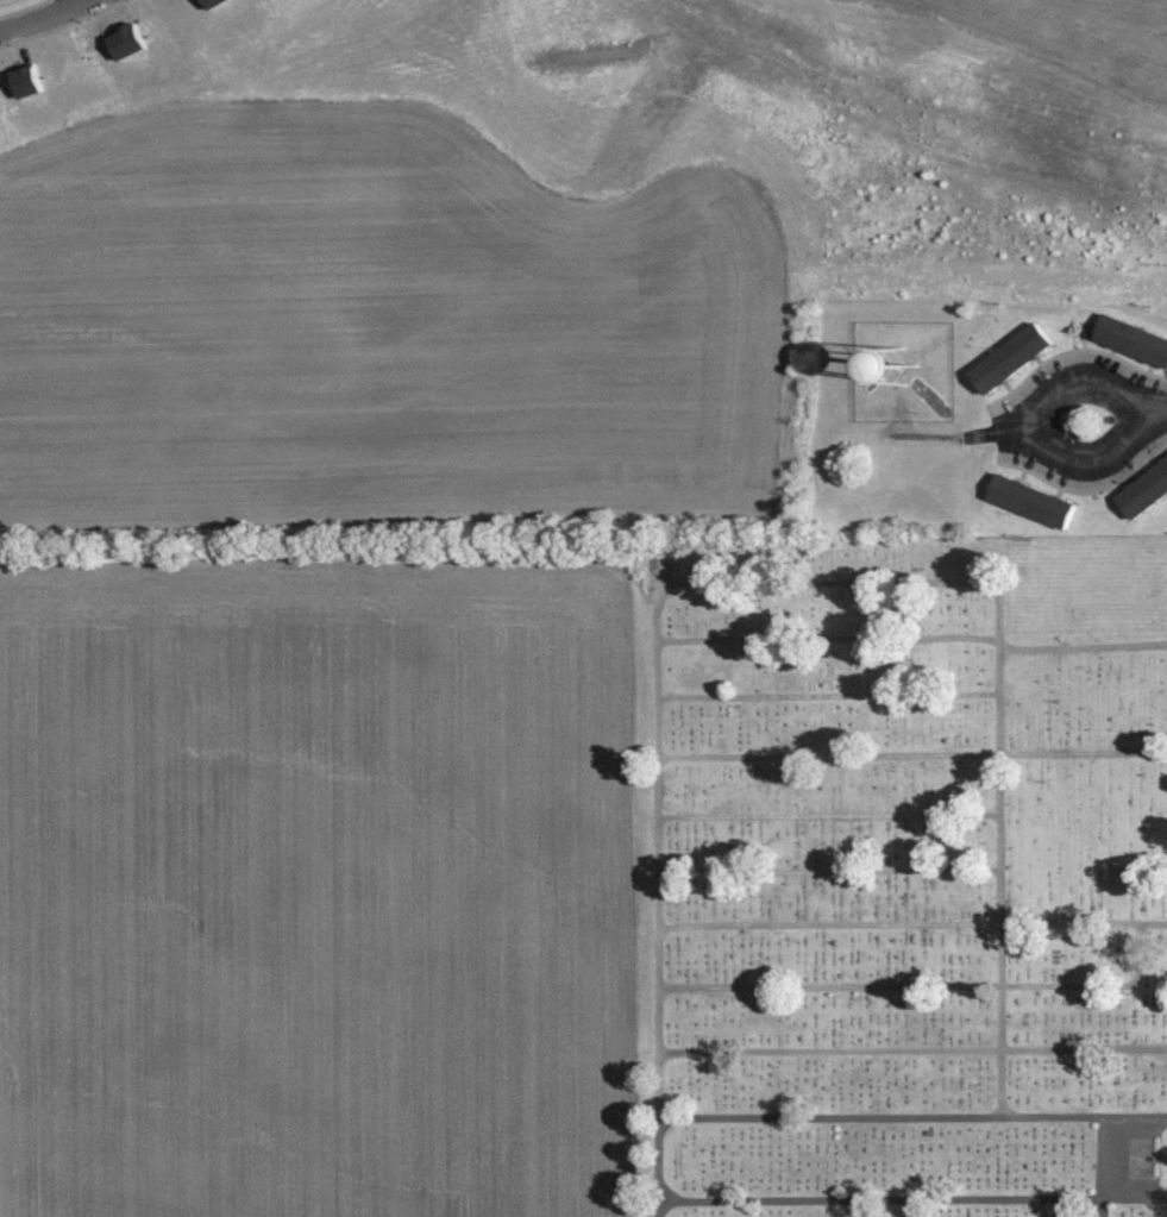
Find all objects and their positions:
road: (83, 1)
building: (219, 2)
road: (45, 15)
building: (130, 43)
building: (31, 82)
building: (1134, 338)
building: (1017, 359)
water tower: (899, 364)
road: (1073, 379)
road: (978, 432)
road: (1084, 458)
building: (1148, 495)
building: (1035, 501)
park: (904, 878)

